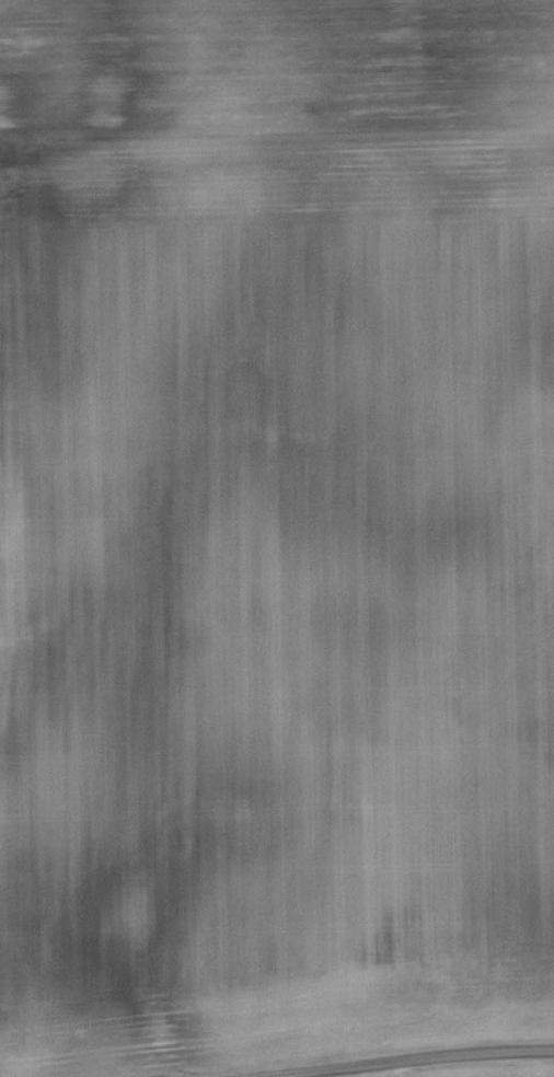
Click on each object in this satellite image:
road: (459, 1065)

